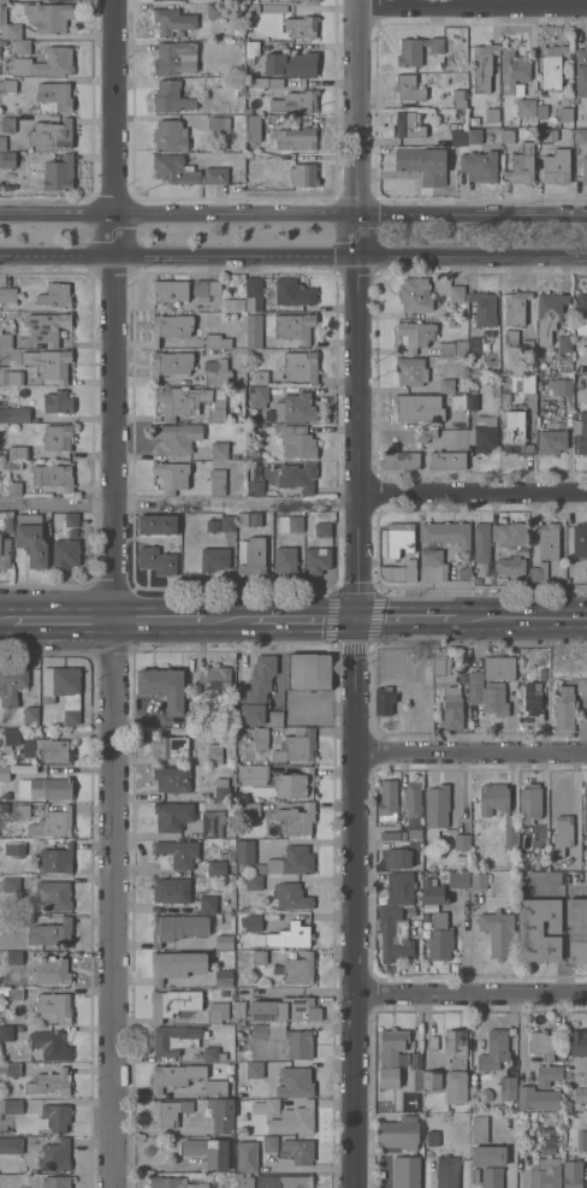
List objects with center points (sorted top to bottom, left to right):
building: (29, 0)
building: (60, 0)
building: (168, 0)
building: (302, 0)
building: (4, 1)
building: (254, 1)
road: (473, 6)
building: (251, 7)
building: (274, 8)
building: (217, 10)
building: (48, 17)
building: (173, 22)
building: (248, 22)
building: (7, 26)
building: (301, 28)
building: (2, 42)
building: (20, 46)
building: (251, 51)
building: (416, 51)
building: (174, 58)
building: (46, 64)
building: (291, 64)
building: (482, 66)
building: (552, 66)
building: (512, 70)
building: (581, 71)
building: (267, 83)
building: (8, 85)
building: (408, 88)
building: (55, 95)
building: (171, 97)
building: (458, 99)
building: (295, 102)
building: (526, 108)
building: (541, 112)
building: (491, 114)
building: (565, 116)
building: (7, 124)
building: (219, 124)
building: (542, 124)
building: (409, 125)
building: (251, 130)
building: (52, 134)
building: (170, 135)
building: (506, 136)
building: (546, 136)
building: (580, 136)
building: (458, 137)
building: (474, 137)
building: (295, 138)
building: (2, 143)
building: (7, 159)
building: (422, 164)
building: (521, 165)
building: (479, 166)
building: (557, 166)
building: (583, 169)
building: (186, 171)
building: (241, 171)
building: (59, 173)
building: (303, 176)
road: (293, 208)
power tower: (464, 236)
road: (292, 258)
building: (207, 286)
building: (451, 290)
building: (171, 291)
building: (292, 292)
building: (254, 294)
building: (7, 295)
building: (415, 295)
building: (57, 296)
building: (235, 305)
building: (484, 308)
building: (515, 308)
road: (358, 311)
building: (549, 314)
building: (581, 314)
building: (171, 326)
building: (45, 327)
building: (295, 327)
building: (254, 331)
building: (416, 335)
building: (510, 337)
building: (6, 341)
building: (217, 342)
building: (474, 344)
building: (564, 344)
building: (527, 347)
building: (455, 348)
building: (49, 364)
building: (171, 364)
building: (300, 365)
building: (410, 372)
building: (215, 373)
building: (12, 377)
building: (261, 378)
building: (523, 383)
building: (446, 384)
building: (559, 388)
building: (505, 397)
building: (180, 401)
building: (457, 402)
building: (58, 403)
building: (473, 403)
building: (284, 406)
building: (217, 407)
building: (416, 408)
building: (14, 414)
building: (516, 433)
building: (426, 435)
building: (484, 435)
building: (582, 435)
building: (58, 437)
building: (178, 437)
building: (459, 439)
building: (551, 441)
building: (297, 443)
building: (219, 450)
building: (18, 453)
building: (399, 461)
building: (447, 461)
building: (11, 465)
building: (172, 475)
building: (53, 477)
building: (297, 478)
building: (217, 483)
building: (14, 489)
building: (256, 489)
road: (473, 493)
road: (180, 503)
building: (255, 519)
building: (71, 520)
building: (8, 524)
building: (227, 524)
building: (241, 524)
building: (291, 524)
building: (156, 526)
building: (322, 530)
building: (72, 533)
building: (445, 534)
building: (510, 534)
building: (31, 539)
building: (547, 540)
building: (580, 540)
building: (482, 543)
building: (523, 550)
building: (4, 552)
building: (66, 554)
building: (399, 554)
building: (251, 556)
building: (158, 560)
building: (213, 560)
building: (285, 560)
building: (318, 560)
building: (434, 560)
building: (510, 566)
building: (464, 572)
building: (539, 573)
building: (586, 574)
building: (478, 581)
road: (117, 593)
road: (64, 619)
road: (161, 619)
road: (520, 619)
road: (5, 620)
road: (226, 620)
road: (303, 620)
road: (405, 620)
traffic signals: (358, 621)
building: (499, 668)
building: (308, 672)
building: (441, 673)
building: (427, 675)
building: (463, 678)
building: (261, 680)
building: (214, 682)
building: (12, 684)
building: (580, 685)
building: (164, 687)
building: (475, 687)
building: (409, 688)
building: (452, 690)
building: (63, 691)
building: (532, 698)
building: (494, 699)
building: (384, 701)
building: (564, 709)
building: (452, 711)
building: (30, 715)
building: (259, 715)
building: (10, 738)
building: (260, 739)
building: (296, 745)
building: (170, 746)
building: (47, 750)
road: (472, 752)
building: (214, 753)
building: (253, 775)
building: (171, 780)
building: (296, 784)
building: (52, 788)
building: (221, 790)
building: (7, 796)
building: (586, 797)
building: (493, 798)
building: (387, 800)
building: (529, 800)
building: (248, 809)
building: (411, 809)
building: (437, 810)
building: (23, 811)
building: (188, 818)
building: (297, 818)
building: (53, 823)
building: (510, 832)
building: (563, 838)
building: (462, 841)
building: (401, 844)
building: (14, 849)
building: (244, 851)
building: (177, 852)
building: (401, 856)
building: (586, 858)
building: (55, 859)
building: (291, 862)
building: (217, 868)
building: (539, 877)
building: (458, 880)
building: (478, 881)
building: (254, 882)
building: (11, 883)
building: (393, 888)
building: (171, 891)
building: (433, 892)
building: (54, 896)
building: (291, 897)
building: (208, 904)
road: (357, 904)
building: (14, 921)
building: (251, 923)
building: (178, 927)
building: (576, 929)
building: (539, 930)
building: (52, 933)
building: (497, 933)
building: (393, 934)
building: (285, 936)
building: (439, 938)
building: (224, 942)
building: (259, 957)
building: (14, 958)
building: (177, 965)
building: (296, 970)
building: (53, 971)
building: (224, 979)
road: (301, 991)
road: (473, 991)
building: (16, 994)
building: (174, 1003)
building: (55, 1006)
building: (278, 1010)
building: (215, 1016)
building: (260, 1032)
building: (6, 1033)
building: (173, 1040)
building: (300, 1044)
building: (577, 1044)
building: (49, 1045)
building: (541, 1045)
building: (456, 1051)
building: (209, 1054)
building: (392, 1057)
building: (493, 1065)
building: (10, 1069)
building: (249, 1070)
building: (586, 1075)
building: (174, 1076)
building: (549, 1076)
building: (432, 1080)
building: (51, 1083)
building: (293, 1083)
building: (215, 1087)
building: (455, 1087)
building: (536, 1099)
building: (12, 1106)
building: (265, 1107)
building: (167, 1112)
building: (221, 1115)
building: (57, 1117)
building: (293, 1121)
building: (480, 1128)
building: (398, 1133)
building: (581, 1141)
building: (11, 1145)
building: (269, 1145)
building: (300, 1151)
building: (208, 1152)
building: (55, 1157)
building: (247, 1157)
building: (488, 1157)
building: (405, 1172)
building: (446, 1172)
building: (545, 1174)
building: (573, 1175)
building: (492, 1177)
building: (268, 1181)
building: (57, 1182)
building: (243, 1182)
building: (296, 1182)
building: (172, 1183)

